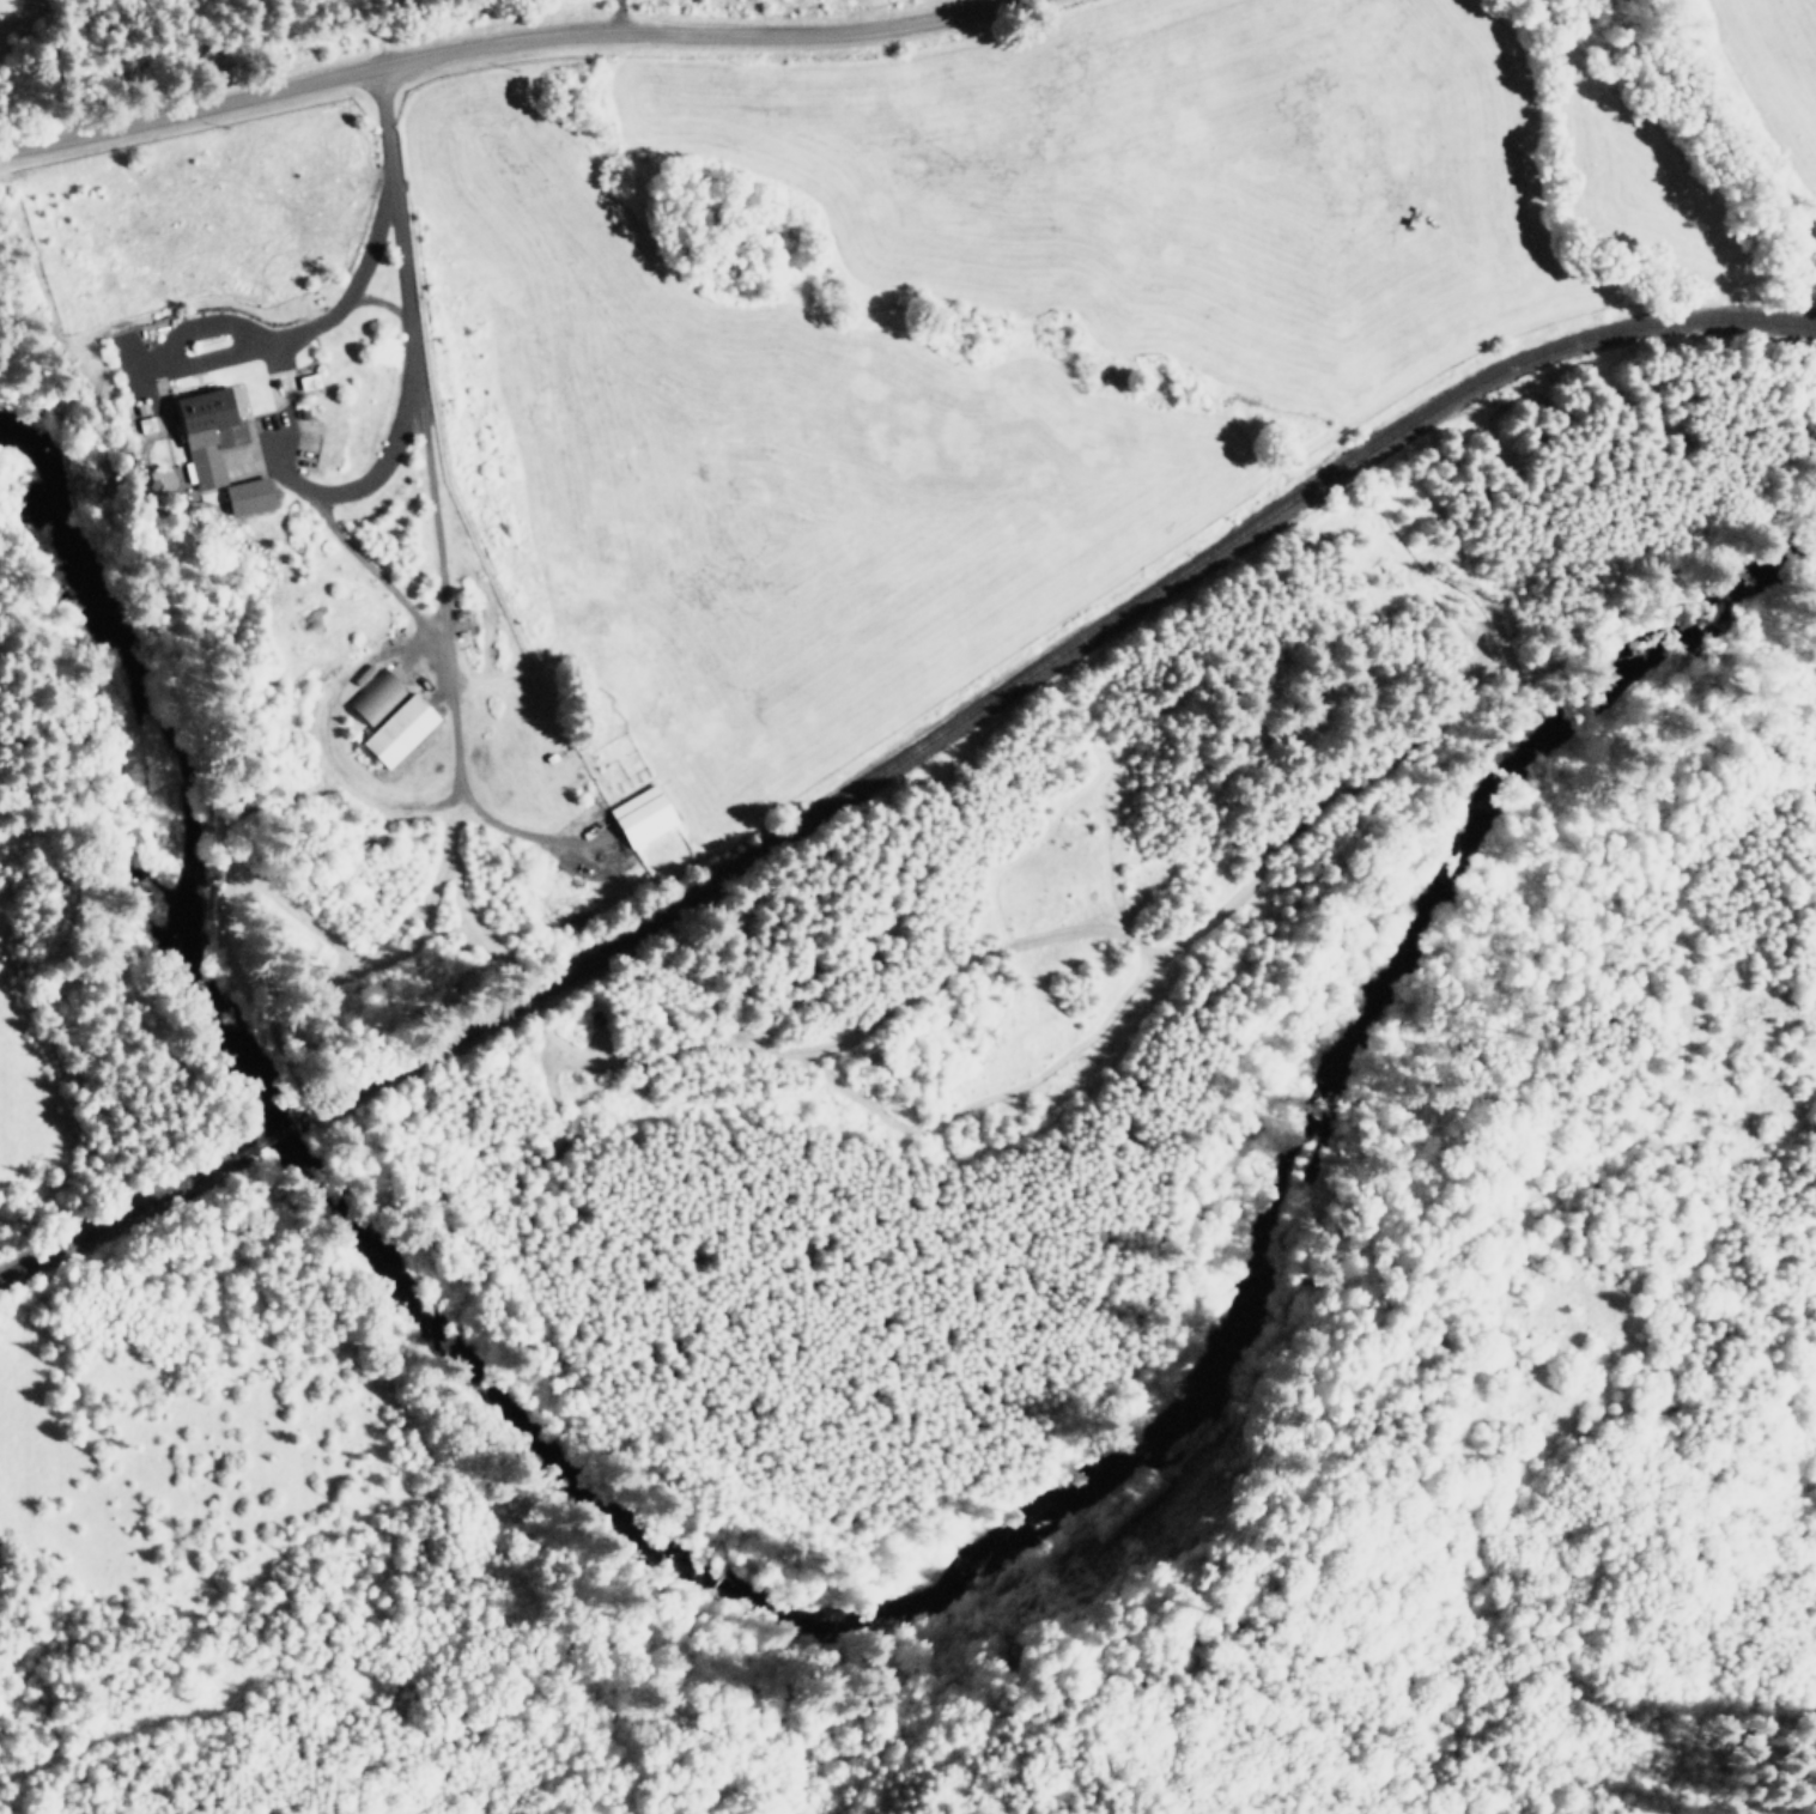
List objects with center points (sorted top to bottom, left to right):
road: (503, 41)
building: (225, 430)
railway: (1063, 645)
building: (376, 694)
building: (406, 728)
building: (638, 814)
railway: (304, 1130)
railway: (126, 1220)
river: (852, 1619)

